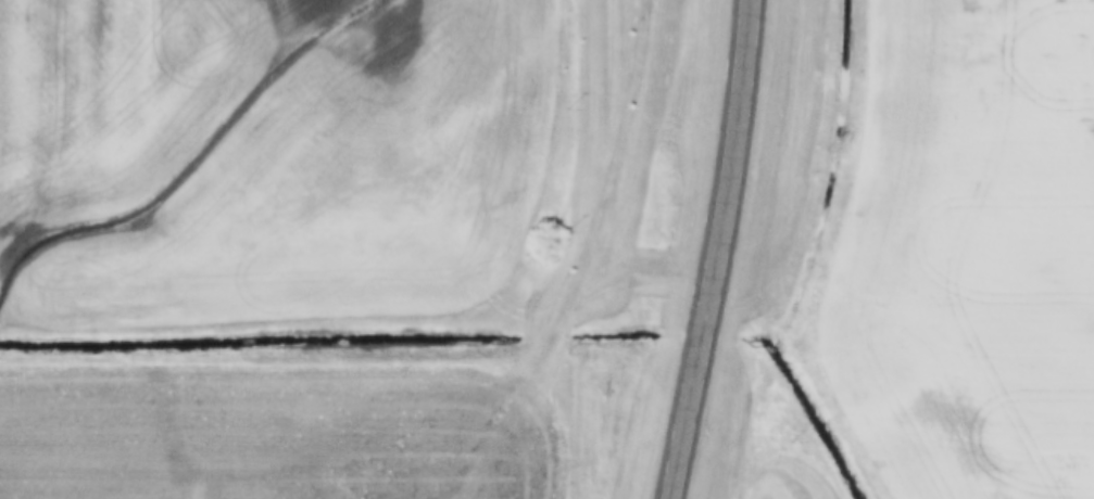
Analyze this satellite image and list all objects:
road: (719, 250)

